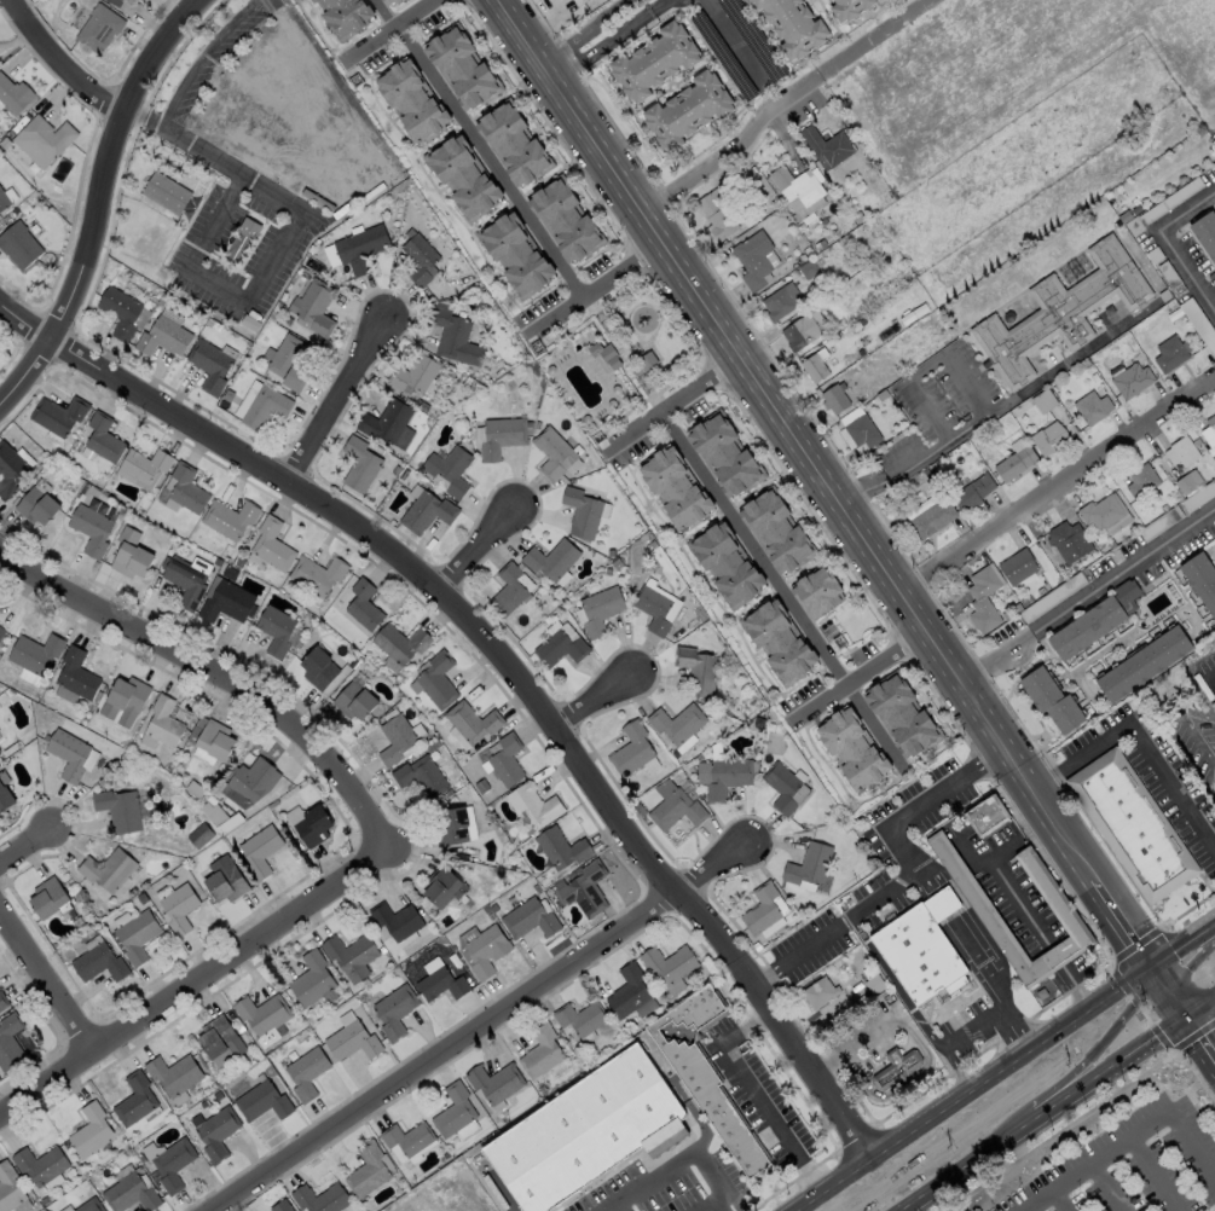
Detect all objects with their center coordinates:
building: (390, 1)
building: (577, 1)
building: (115, 2)
road: (661, 6)
building: (847, 7)
building: (343, 16)
building: (792, 25)
building: (98, 28)
road: (394, 29)
road: (585, 31)
road: (875, 37)
road: (735, 40)
road: (601, 46)
road: (199, 57)
building: (653, 62)
road: (60, 66)
building: (461, 68)
building: (12, 97)
building: (411, 100)
building: (685, 110)
road: (144, 114)
building: (41, 140)
building: (513, 144)
building: (826, 145)
road: (734, 147)
road: (482, 150)
building: (463, 178)
building: (795, 185)
building: (164, 193)
building: (2, 201)
road: (99, 205)
building: (716, 212)
building: (565, 220)
building: (1204, 234)
building: (18, 244)
building: (243, 244)
road: (1164, 244)
building: (360, 248)
road: (273, 254)
building: (515, 255)
building: (418, 257)
building: (752, 259)
road: (595, 291)
building: (780, 301)
building: (312, 308)
building: (120, 312)
building: (1059, 312)
building: (798, 331)
building: (163, 337)
building: (455, 338)
road: (1078, 353)
building: (1168, 354)
building: (603, 357)
road: (625, 357)
park: (614, 358)
building: (646, 361)
building: (288, 363)
building: (812, 364)
road: (926, 364)
building: (209, 365)
road: (750, 371)
building: (415, 373)
building: (1130, 379)
building: (833, 398)
road: (341, 399)
road: (676, 406)
building: (264, 407)
building: (1089, 409)
building: (58, 415)
building: (388, 424)
building: (860, 430)
building: (1208, 435)
building: (499, 436)
building: (102, 438)
building: (1048, 439)
building: (1182, 450)
building: (551, 453)
building: (723, 456)
road: (922, 456)
building: (1013, 463)
building: (144, 464)
building: (359, 465)
building: (10, 469)
building: (449, 470)
building: (1140, 481)
building: (1187, 482)
building: (186, 489)
building: (675, 489)
road: (1059, 489)
building: (972, 492)
building: (36, 506)
building: (1101, 511)
building: (427, 512)
building: (580, 512)
building: (228, 518)
building: (931, 518)
building: (91, 529)
building: (775, 532)
building: (1068, 541)
building: (271, 545)
road: (487, 545)
building: (131, 555)
building: (550, 560)
building: (724, 564)
building: (1016, 566)
building: (316, 574)
building: (186, 579)
building: (1200, 581)
building: (507, 590)
road: (786, 591)
building: (815, 595)
road: (1088, 596)
building: (982, 599)
building: (225, 602)
building: (363, 605)
building: (652, 609)
building: (598, 610)
building: (1093, 621)
building: (274, 630)
building: (1, 632)
building: (399, 643)
building: (777, 643)
building: (559, 649)
building: (34, 654)
road: (503, 656)
building: (1141, 664)
road: (209, 668)
building: (317, 670)
building: (696, 671)
building: (74, 678)
road: (861, 679)
building: (435, 680)
building: (1214, 696)
building: (1049, 701)
building: (123, 702)
building: (354, 702)
road: (602, 702)
building: (1211, 706)
building: (901, 718)
building: (470, 722)
building: (676, 724)
building: (160, 725)
building: (214, 740)
building: (397, 740)
road: (1141, 747)
building: (851, 749)
building: (632, 752)
building: (0, 754)
building: (66, 754)
building: (504, 761)
building: (422, 777)
building: (722, 777)
building: (251, 780)
building: (1214, 782)
building: (1214, 784)
building: (781, 788)
building: (4, 800)
building: (531, 807)
building: (117, 810)
road: (1048, 810)
building: (676, 811)
building: (984, 817)
building: (309, 824)
building: (1132, 825)
building: (451, 827)
road: (31, 833)
building: (560, 848)
building: (260, 851)
building: (808, 864)
building: (106, 870)
road: (1000, 871)
road: (910, 873)
road: (921, 877)
building: (225, 880)
building: (444, 887)
building: (584, 891)
building: (1052, 896)
building: (46, 898)
road: (939, 905)
building: (179, 908)
building: (759, 908)
road: (1122, 919)
building: (527, 920)
building: (397, 921)
building: (135, 937)
road: (1182, 938)
building: (921, 949)
building: (484, 951)
building: (349, 955)
road: (1057, 956)
traffic signals: (1150, 961)
building: (666, 962)
building: (97, 963)
road: (50, 977)
building: (311, 979)
building: (870, 980)
road: (1190, 980)
road: (193, 981)
road: (988, 981)
road: (892, 984)
building: (439, 985)
road: (1075, 985)
road: (1169, 987)
building: (626, 990)
building: (817, 991)
building: (2, 1002)
road: (1202, 1007)
building: (393, 1012)
building: (261, 1016)
traffic signals: (1188, 1016)
building: (578, 1018)
road: (485, 1025)
road: (971, 1029)
road: (1202, 1036)
building: (218, 1038)
building: (8, 1042)
building: (351, 1042)
building: (539, 1049)
road: (1055, 1064)
building: (896, 1068)
road: (953, 1070)
building: (305, 1073)
building: (170, 1074)
building: (705, 1074)
building: (493, 1079)
road: (971, 1087)
road: (751, 1090)
building: (133, 1100)
building: (260, 1102)
building: (452, 1109)
road: (1045, 1113)
building: (89, 1131)
building: (215, 1132)
building: (588, 1134)
road: (1129, 1137)
building: (405, 1138)
building: (39, 1164)
building: (172, 1164)
road: (675, 1164)
parking lot: (1130, 1165)
building: (366, 1169)
road: (1153, 1175)
building: (8, 1188)
road: (1105, 1188)
building: (129, 1194)
building: (319, 1196)
road: (1058, 1200)
road: (705, 1204)
building: (88, 1205)
building: (279, 1205)

